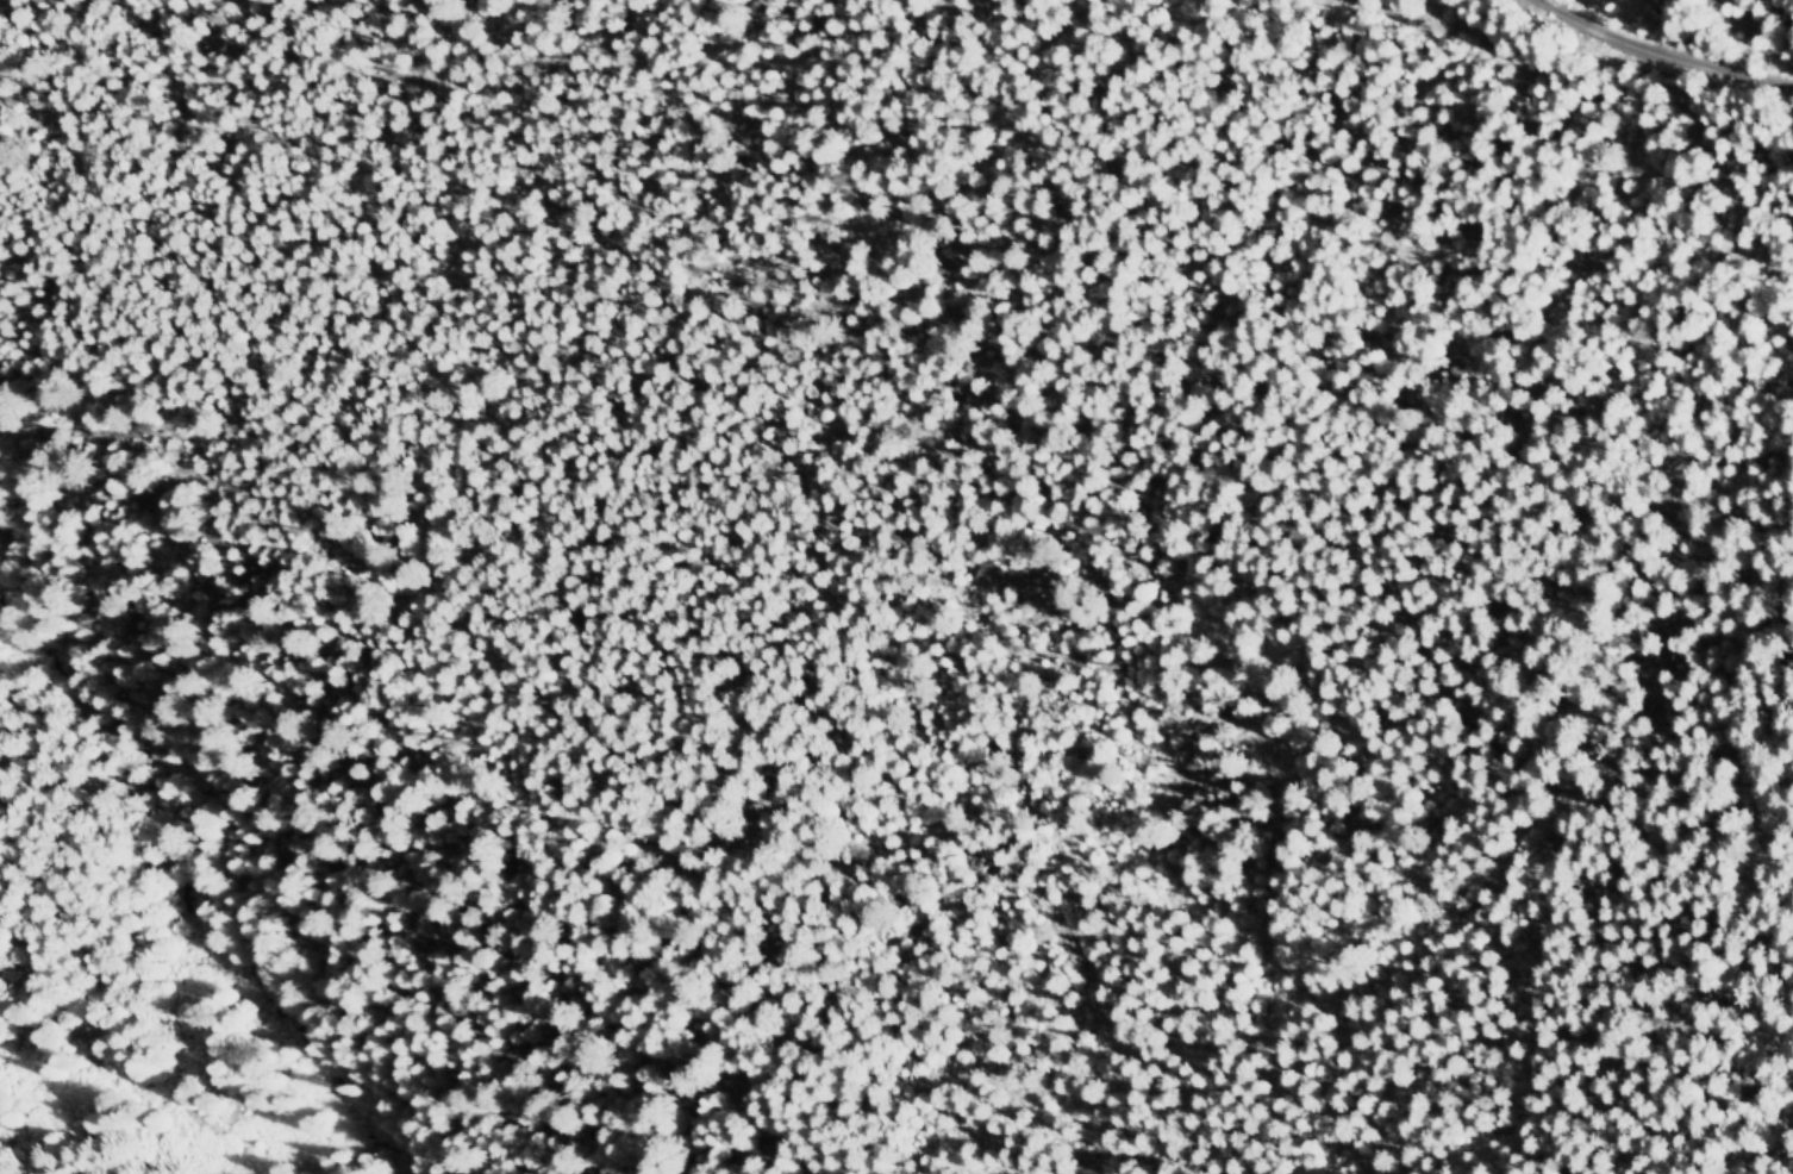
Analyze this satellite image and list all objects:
road: (1698, 44)

